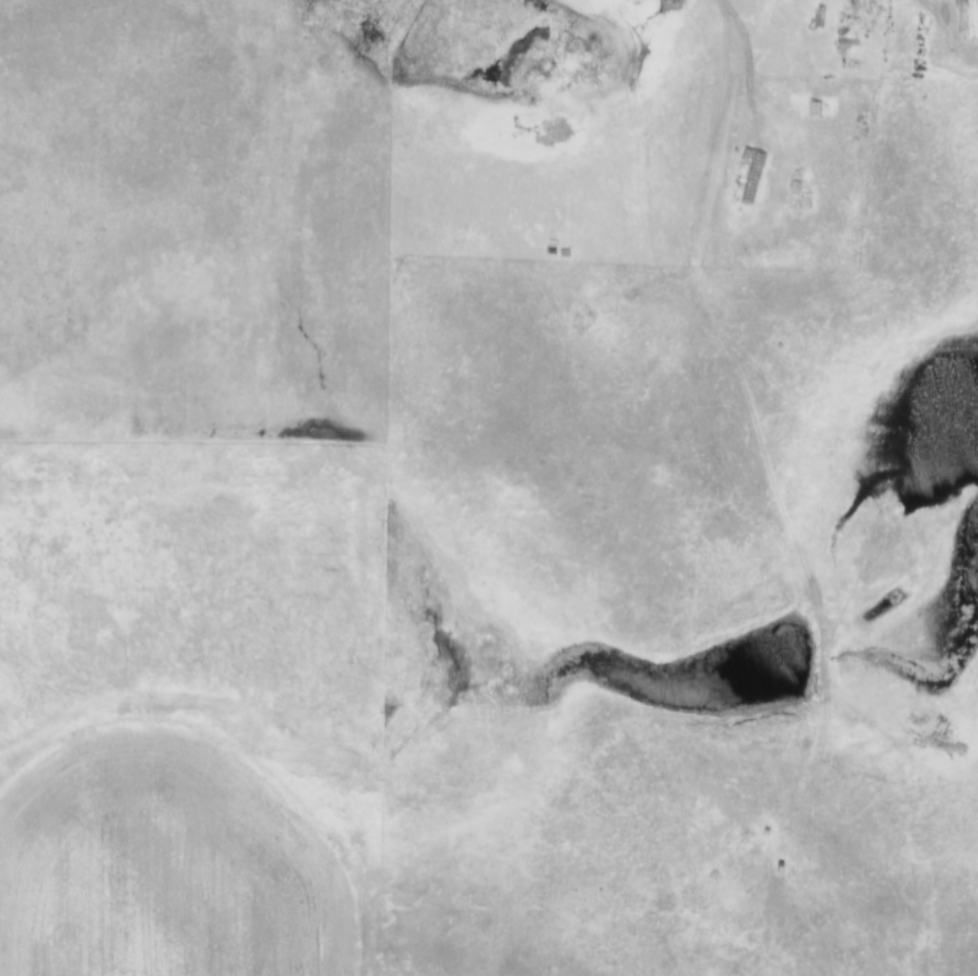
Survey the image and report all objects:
road: (746, 77)

